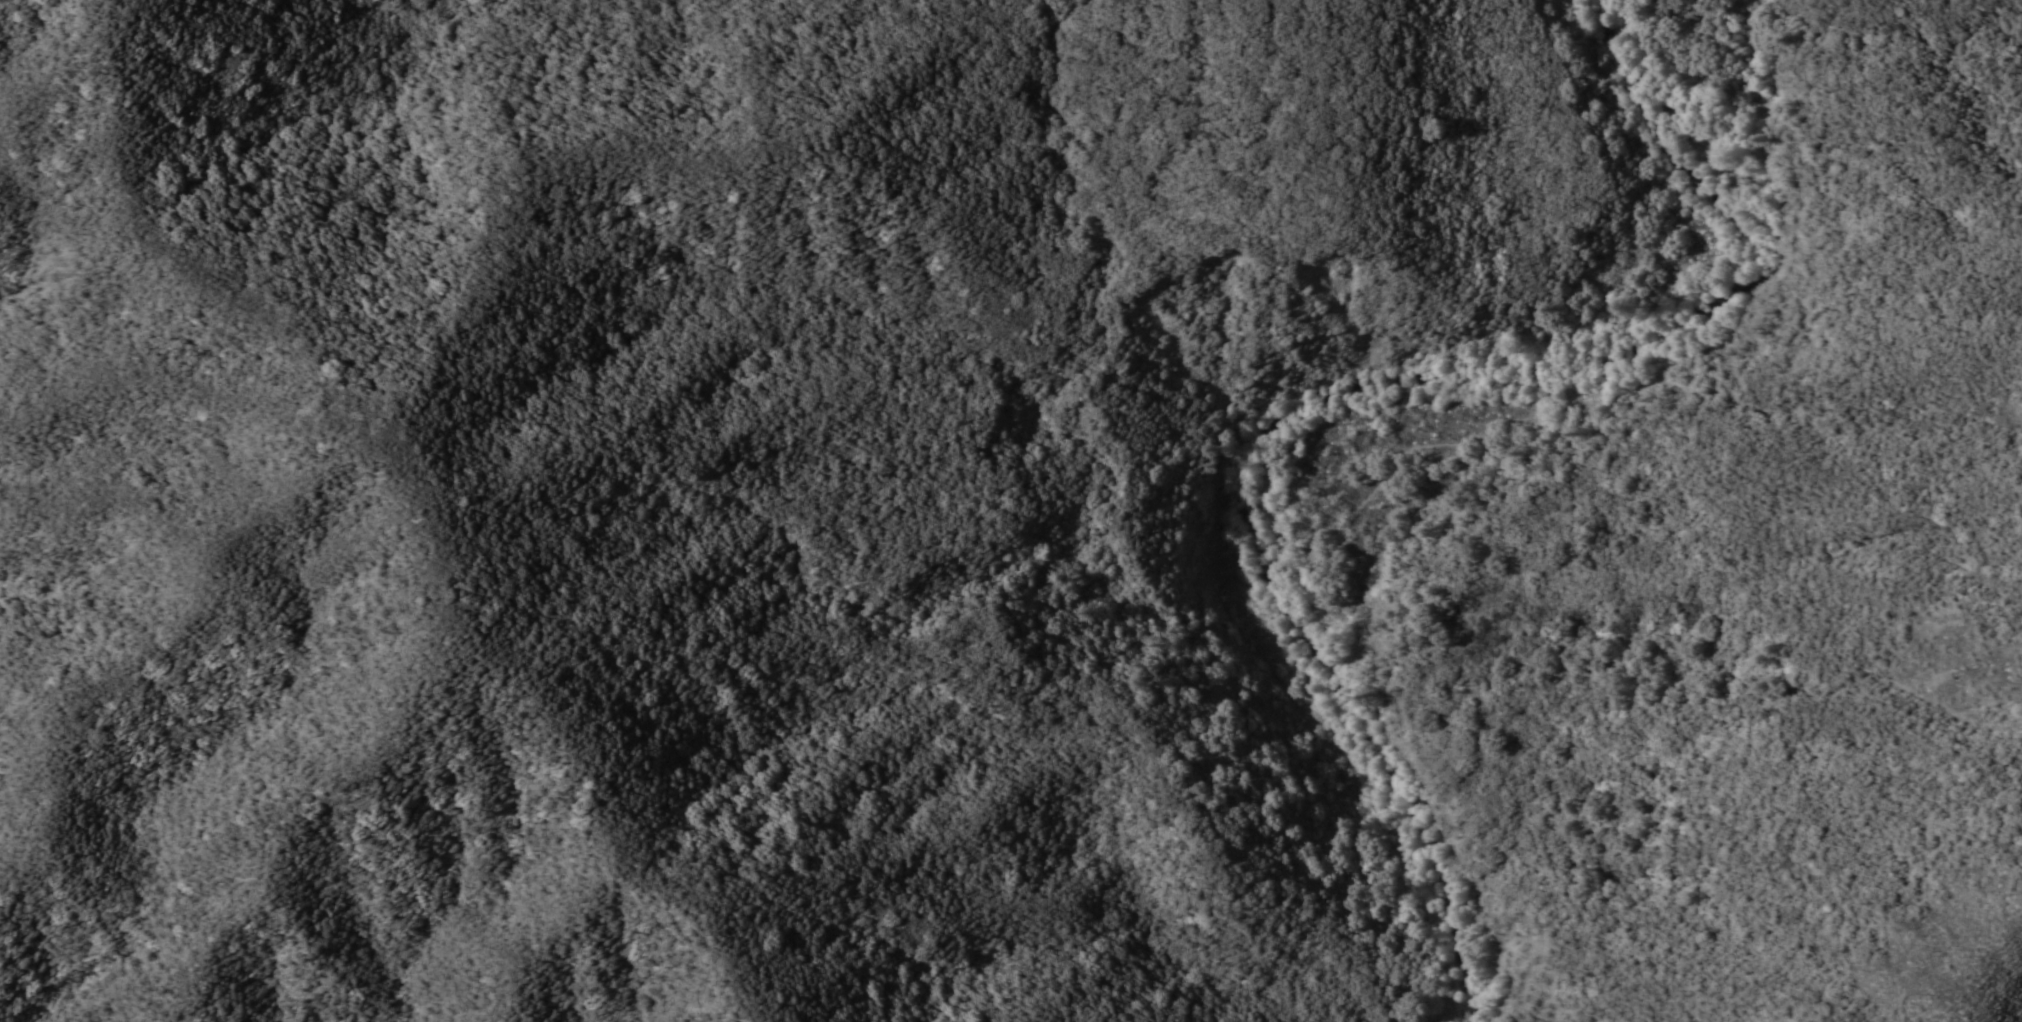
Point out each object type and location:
road: (1398, 450)

